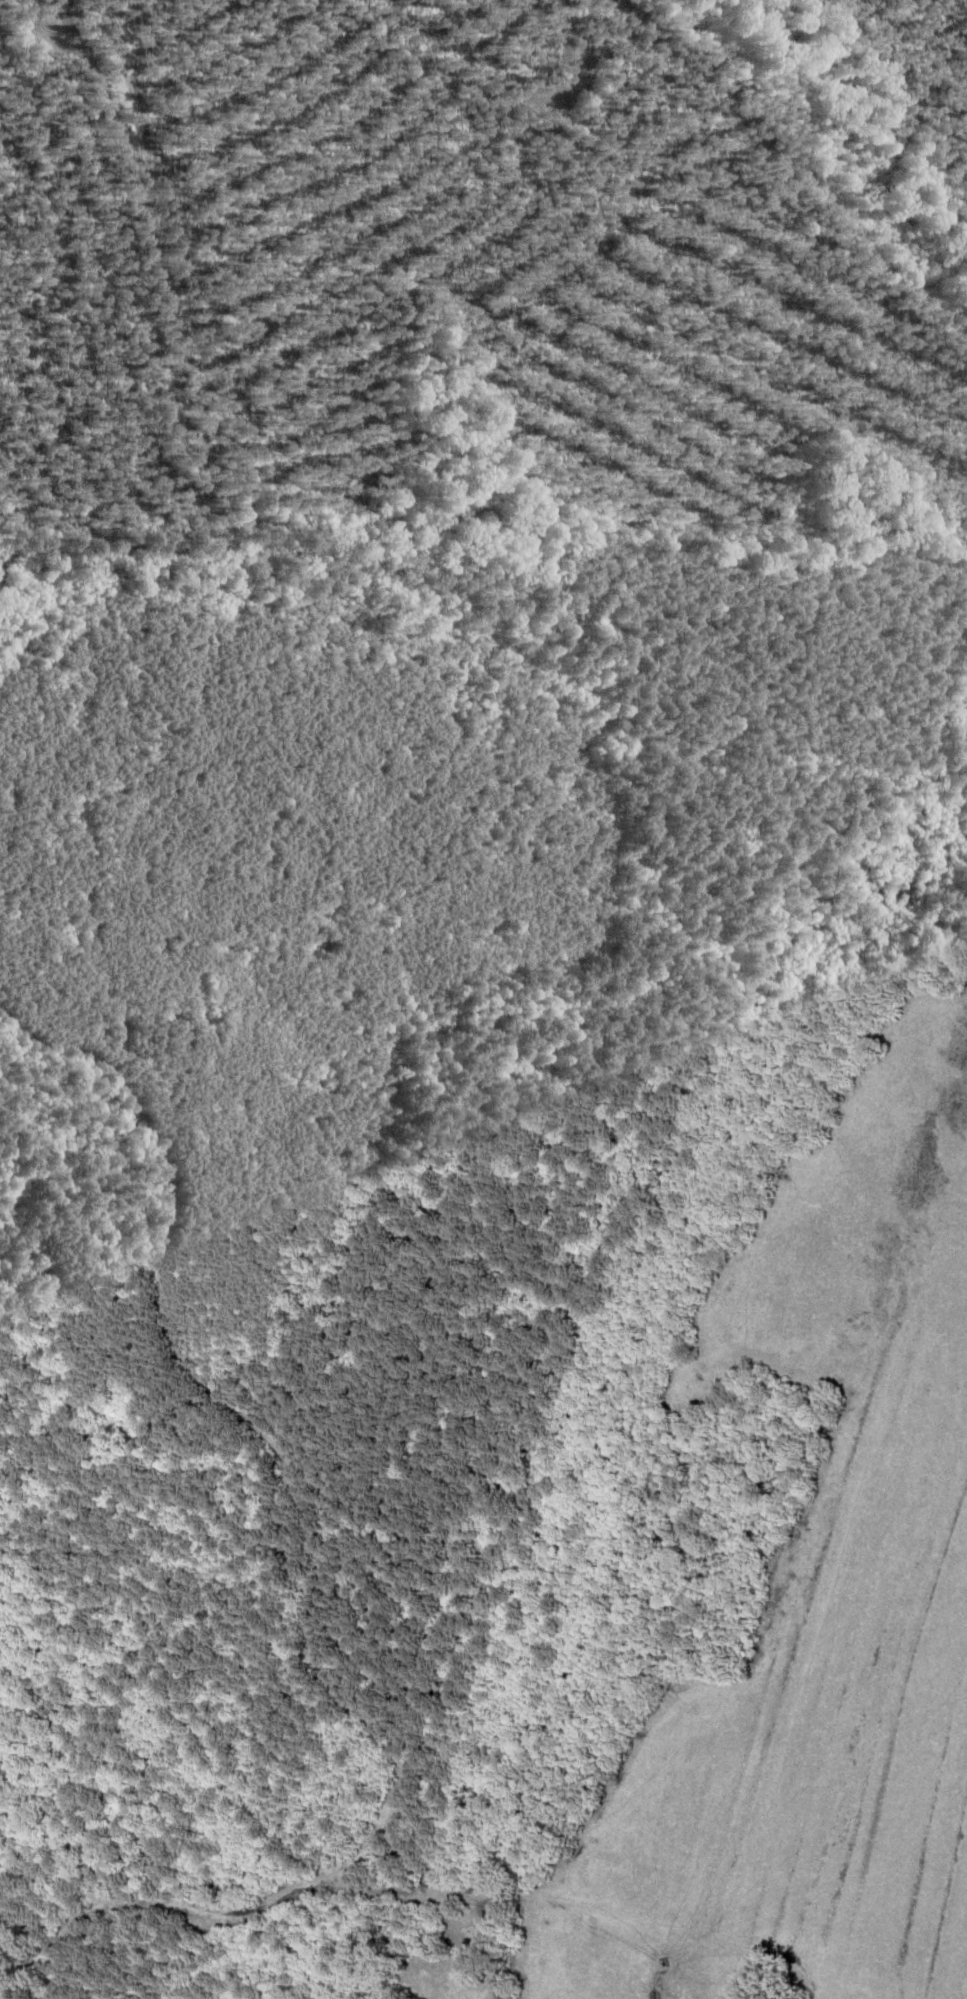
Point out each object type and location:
road: (259, 1927)

